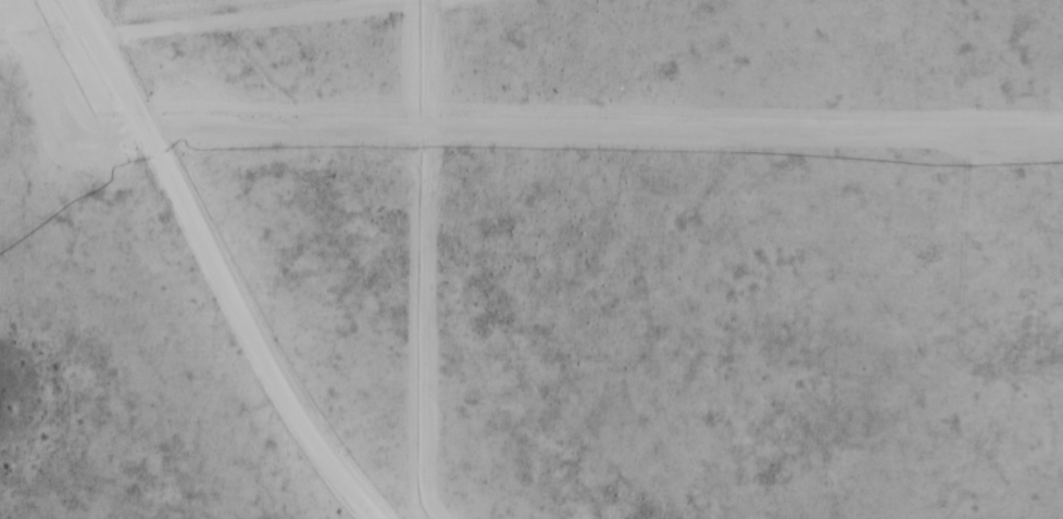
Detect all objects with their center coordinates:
road: (222, 266)

